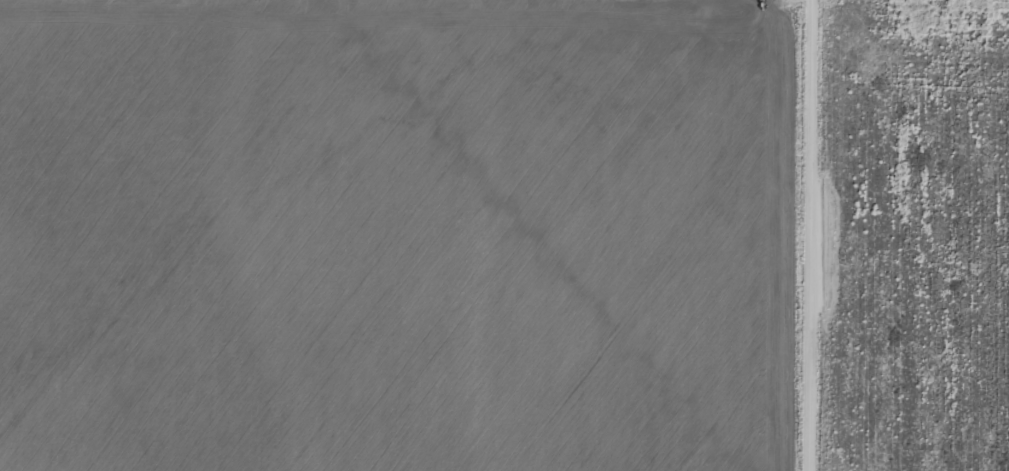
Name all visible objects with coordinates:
road: (777, 235)

